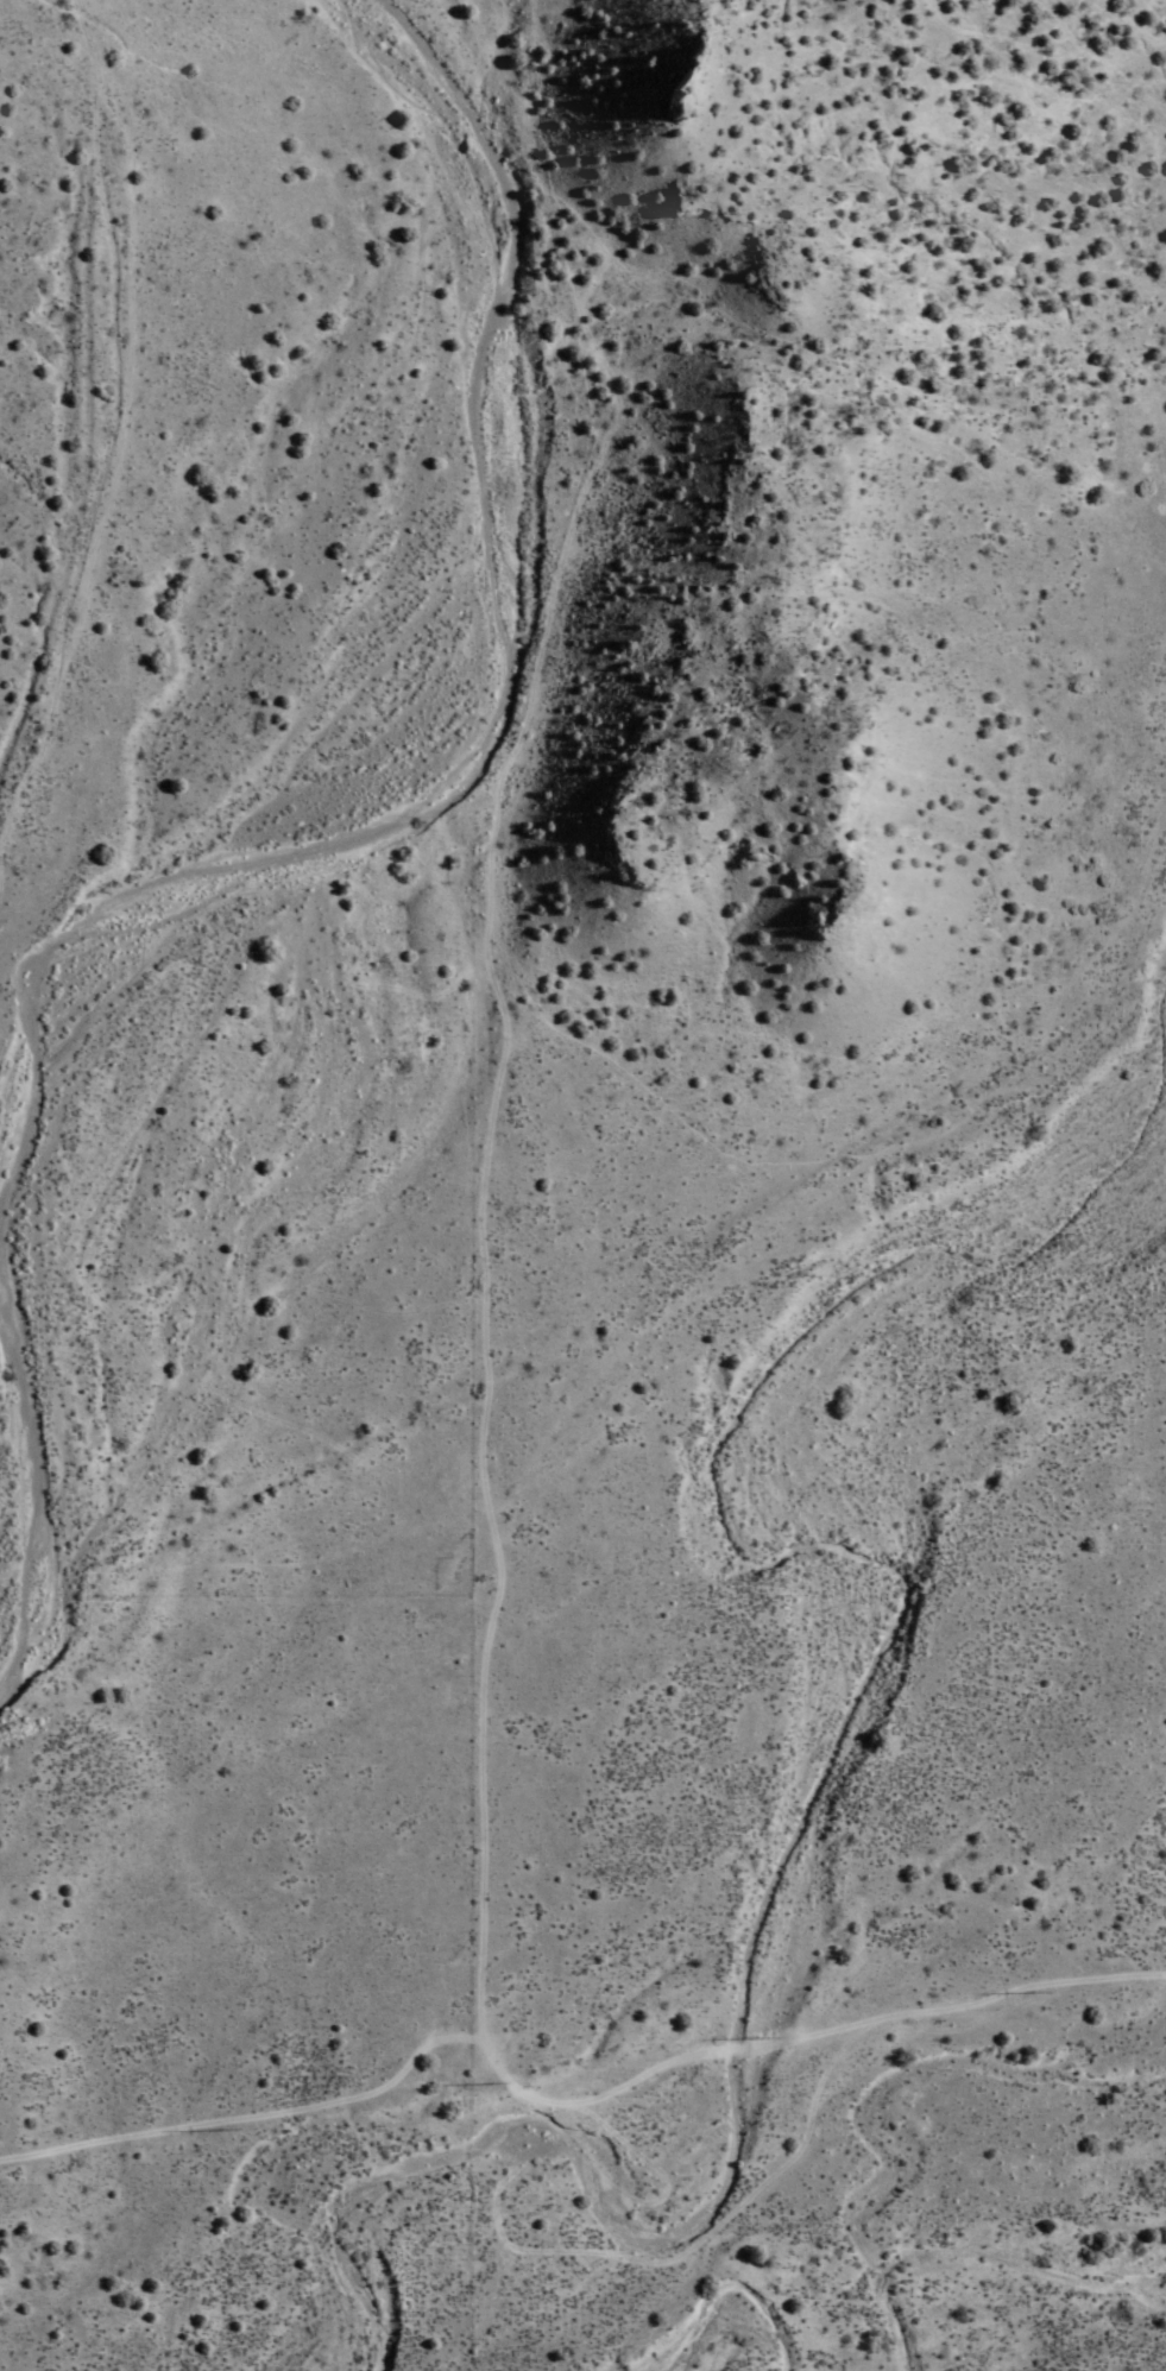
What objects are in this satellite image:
road: (78, 443)

